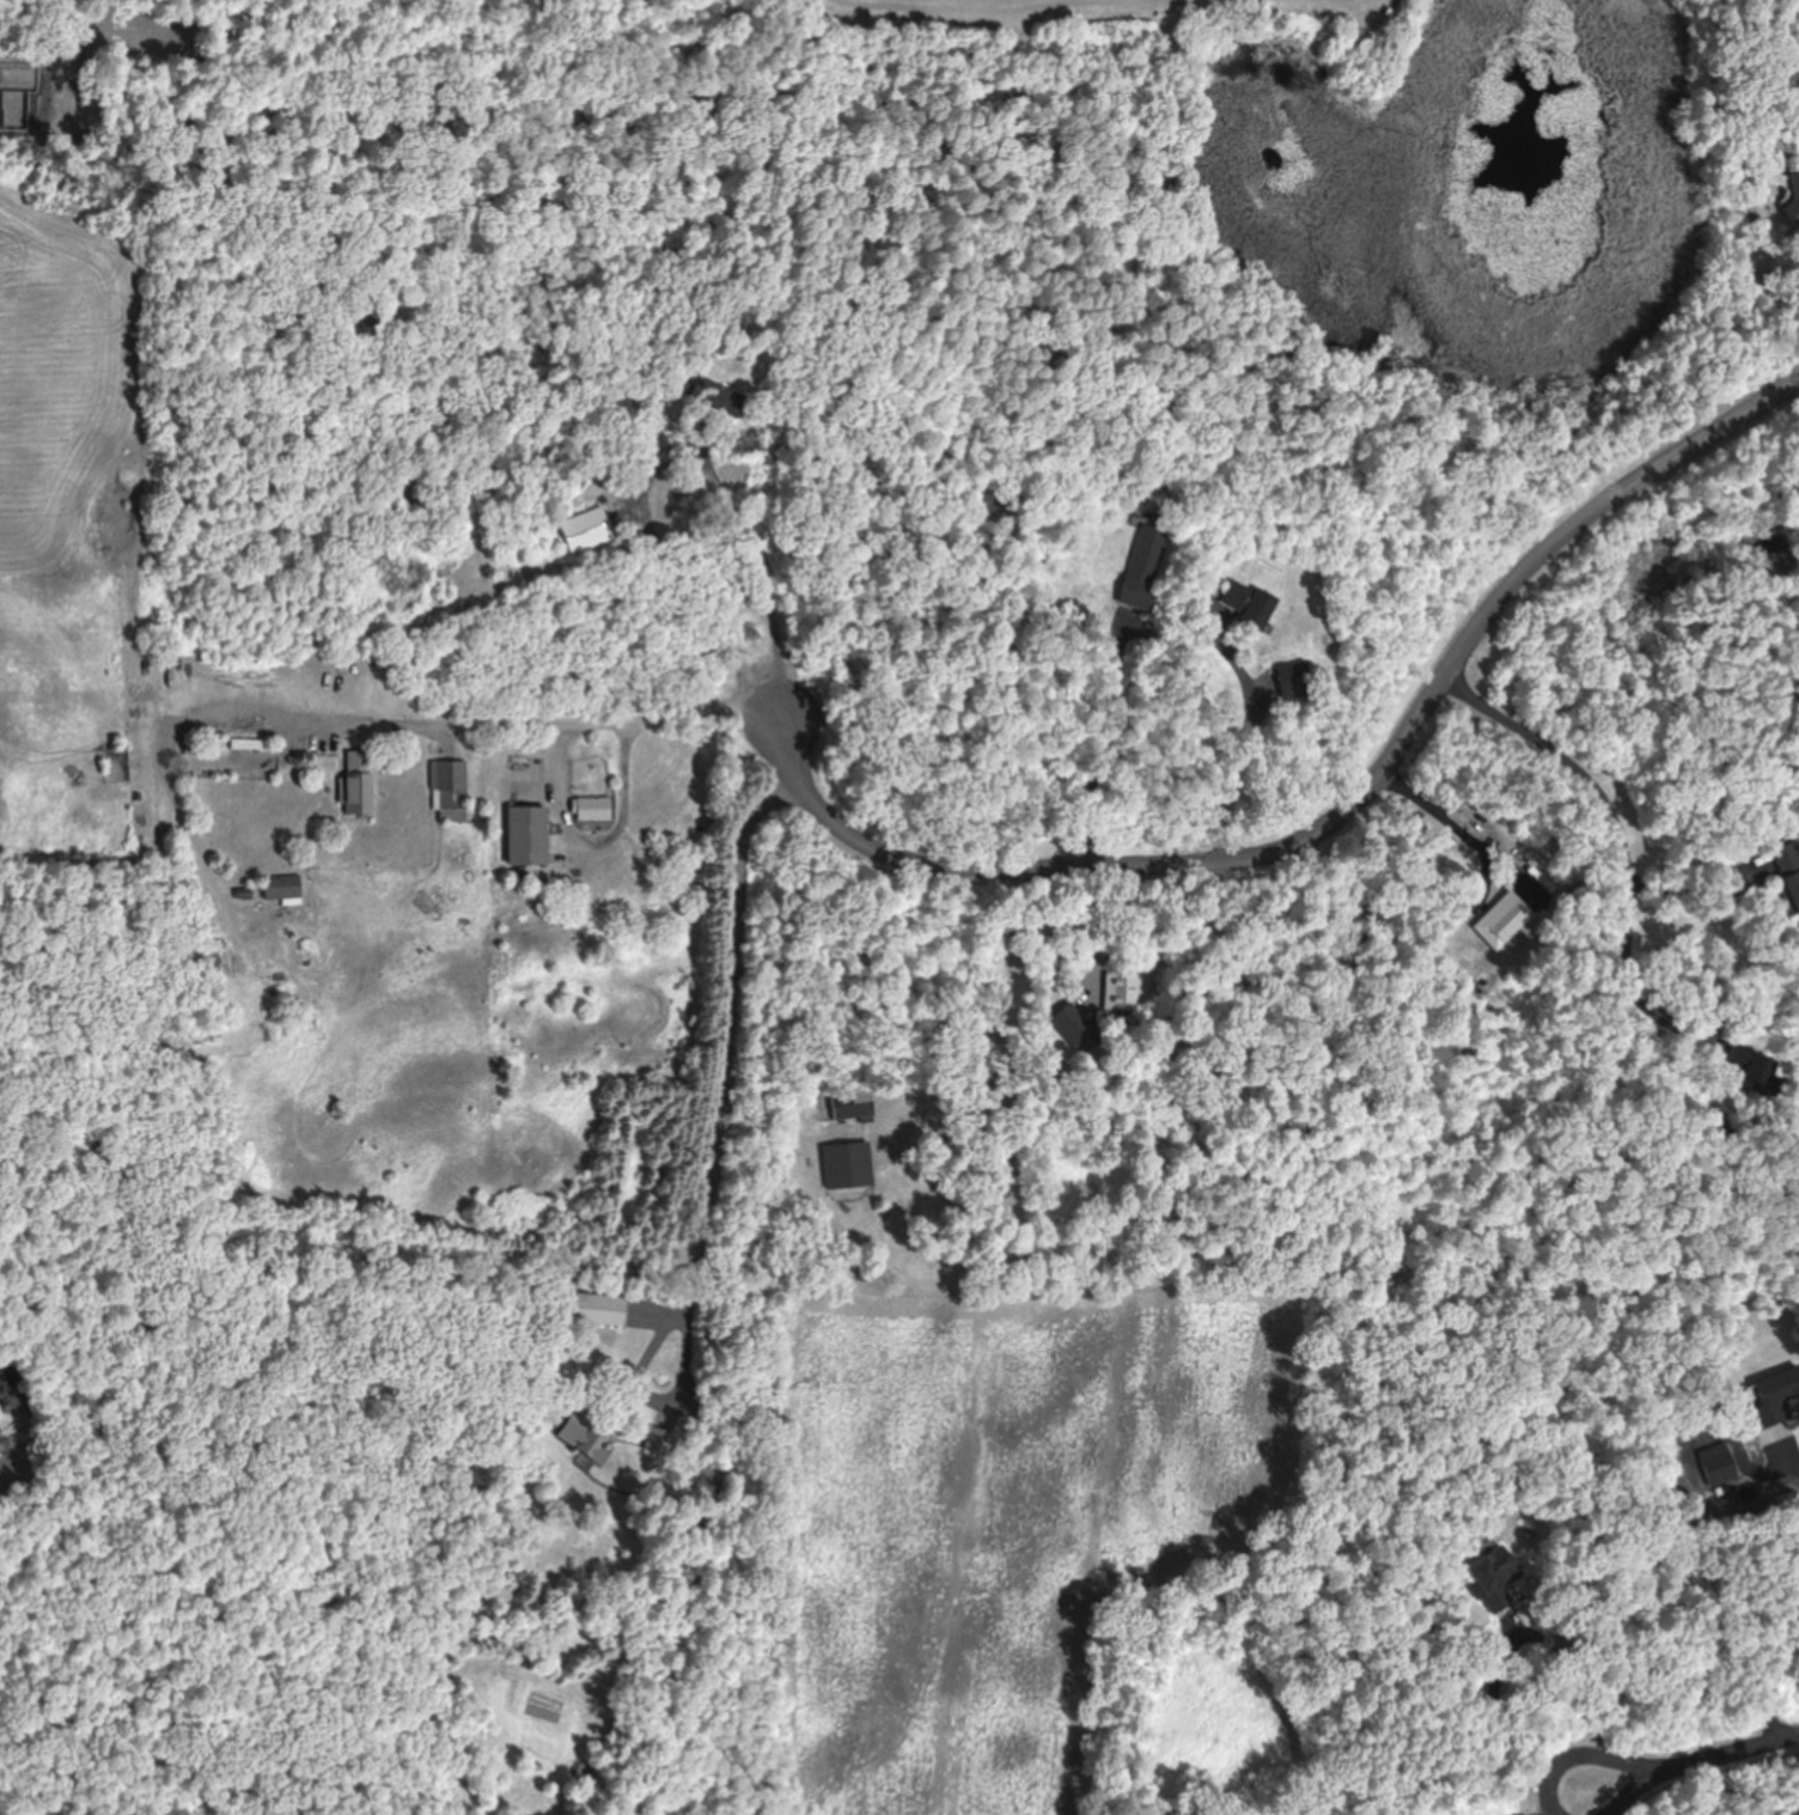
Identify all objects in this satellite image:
building: (1793, 189)
road: (669, 447)
building: (586, 531)
building: (1141, 566)
building: (1246, 603)
building: (1292, 676)
road: (360, 715)
building: (355, 781)
building: (447, 787)
road: (1344, 805)
building: (591, 808)
road: (1615, 817)
building: (524, 834)
building: (1788, 867)
building: (280, 885)
road: (1687, 889)
building: (1499, 918)
building: (1118, 991)
building: (1752, 1070)
building: (852, 1103)
building: (847, 1164)
building: (596, 1308)
building: (1771, 1393)
building: (657, 1439)
road: (1794, 1449)
building: (1715, 1463)
building: (1492, 1577)
road: (1774, 1669)
road: (1738, 1747)
road: (1630, 1756)
road: (1519, 1807)

